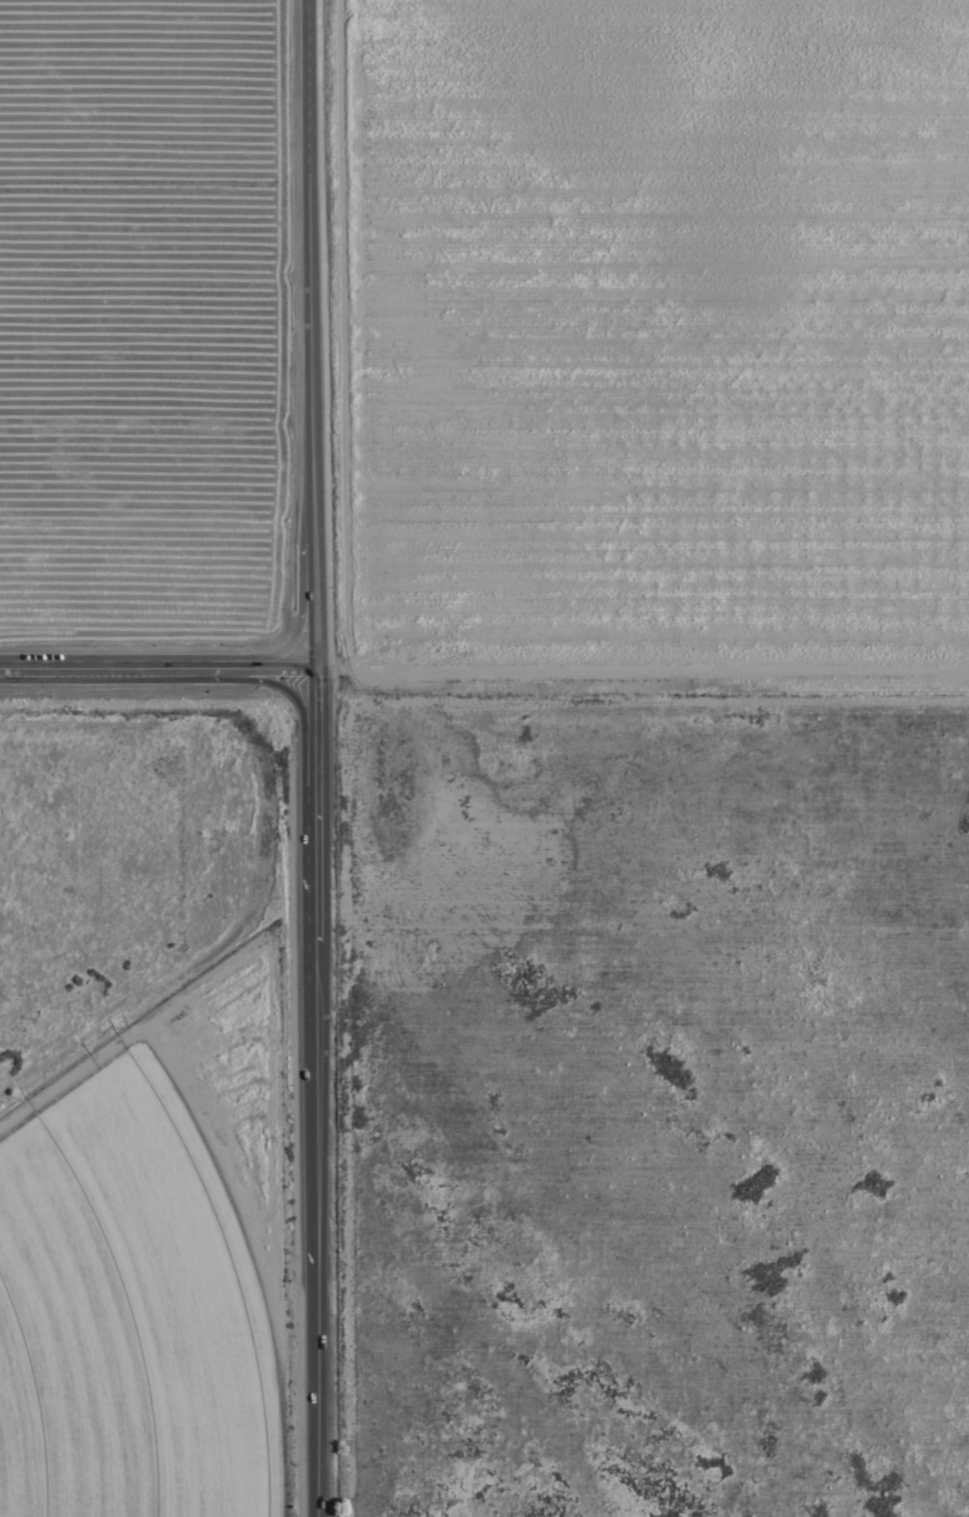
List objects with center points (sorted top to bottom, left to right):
crop: (150, 313)
road: (311, 327)
road: (155, 655)
road: (314, 1086)
crop: (536, 1143)

